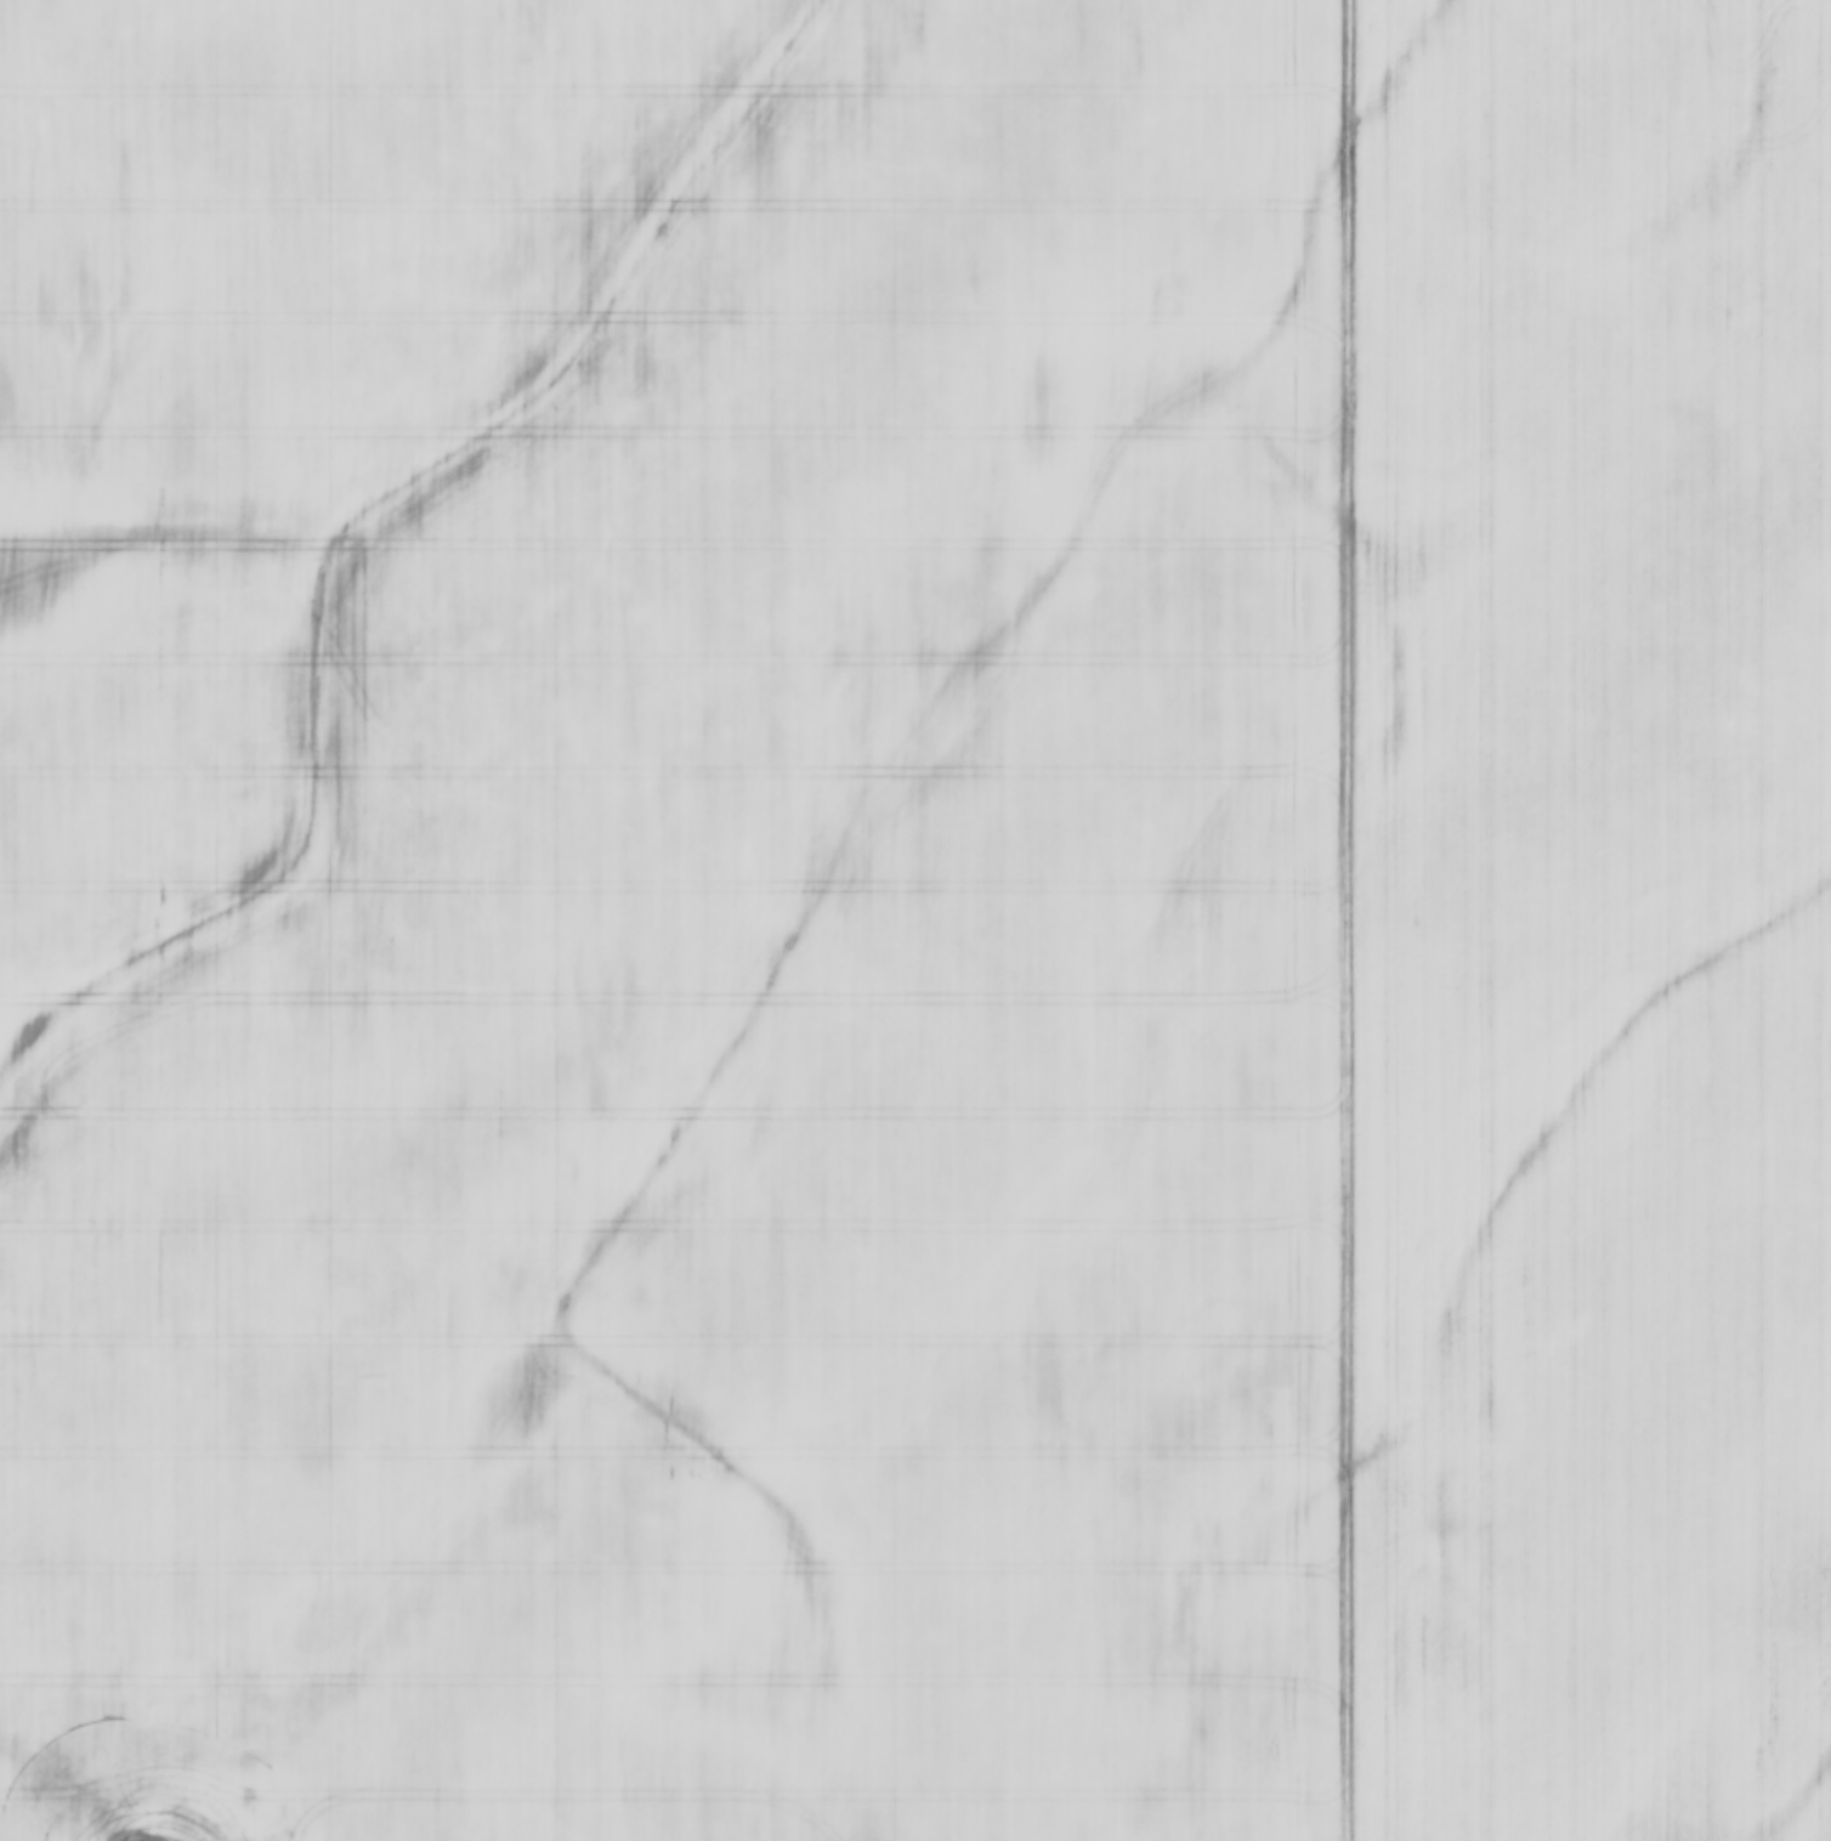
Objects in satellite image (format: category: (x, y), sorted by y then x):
road: (1357, 919)

